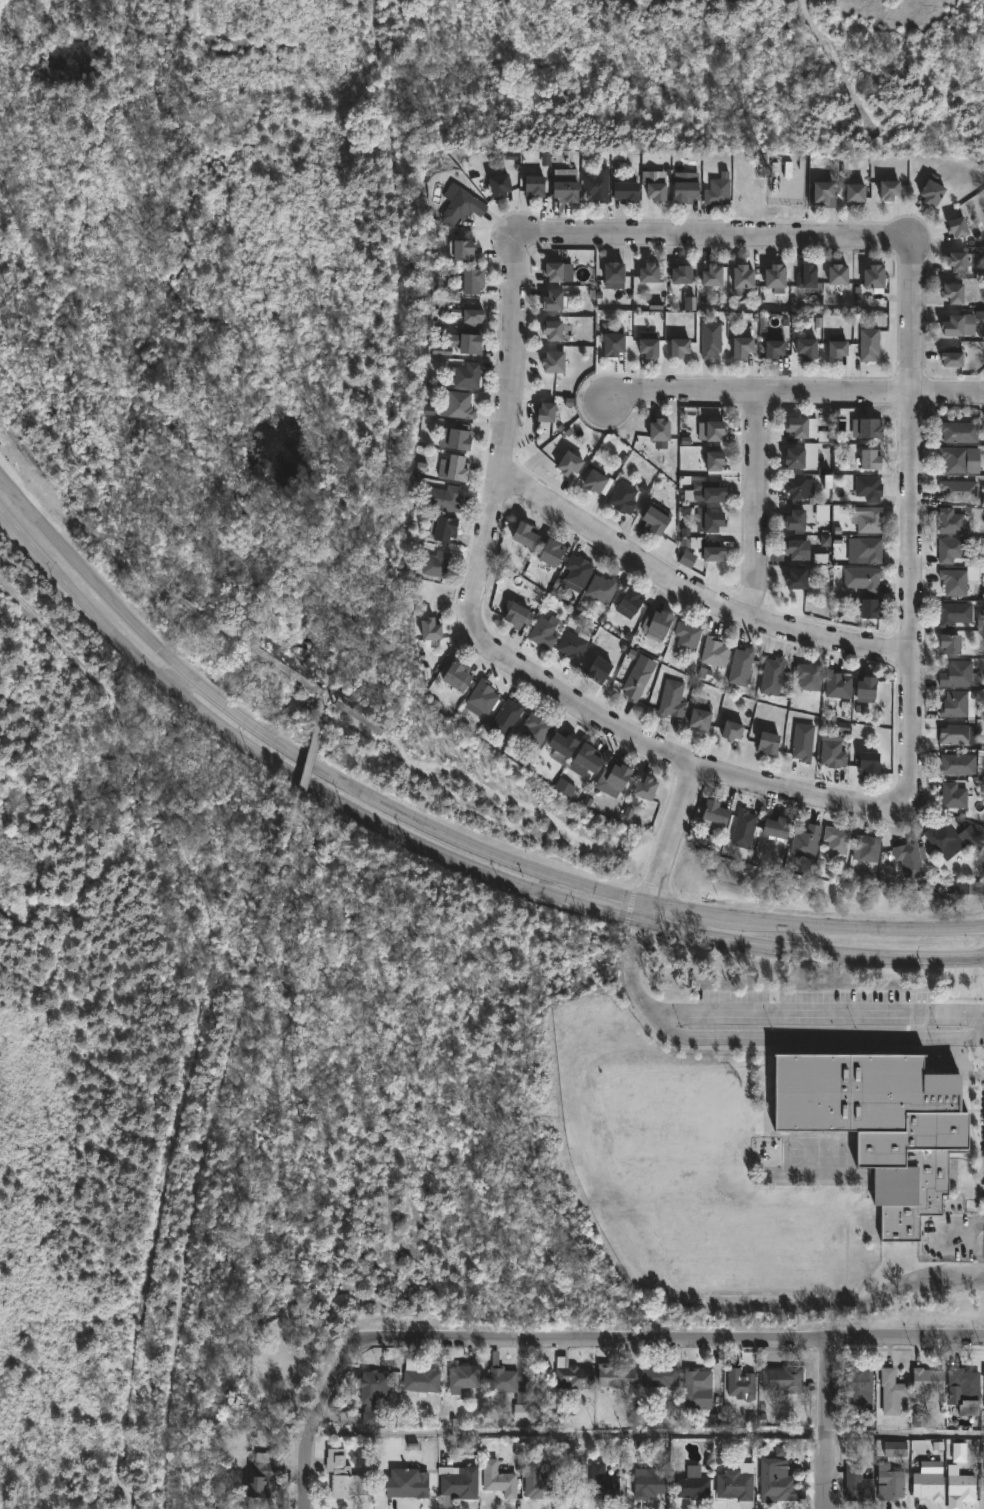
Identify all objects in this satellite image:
building: (496, 184)
building: (531, 184)
building: (596, 184)
building: (786, 187)
building: (624, 188)
building: (887, 188)
building: (931, 189)
building: (563, 190)
building: (654, 190)
building: (683, 190)
building: (821, 190)
building: (717, 191)
building: (854, 191)
building: (461, 201)
building: (957, 225)
road: (713, 237)
building: (456, 248)
building: (955, 260)
building: (552, 270)
building: (611, 271)
building: (647, 272)
building: (836, 273)
building: (680, 274)
building: (711, 274)
building: (742, 275)
building: (873, 277)
building: (774, 278)
building: (808, 278)
building: (470, 280)
building: (952, 292)
building: (551, 300)
building: (469, 315)
building: (958, 325)
building: (551, 330)
building: (710, 339)
building: (468, 343)
building: (611, 343)
building: (869, 344)
building: (678, 346)
building: (740, 346)
building: (647, 347)
building: (804, 347)
building: (773, 348)
building: (836, 349)
building: (951, 357)
building: (551, 361)
railway: (401, 371)
building: (465, 375)
road: (792, 387)
building: (458, 405)
building: (543, 412)
building: (801, 426)
building: (866, 428)
building: (658, 429)
building: (713, 431)
building: (959, 431)
building: (453, 436)
building: (793, 457)
building: (869, 459)
building: (960, 459)
building: (713, 461)
building: (566, 463)
building: (451, 468)
building: (596, 482)
building: (794, 488)
building: (868, 488)
building: (958, 490)
building: (707, 491)
building: (442, 498)
building: (622, 498)
road: (754, 503)
building: (654, 518)
building: (794, 520)
building: (868, 520)
building: (710, 521)
building: (955, 521)
road: (911, 525)
building: (443, 529)
building: (524, 534)
building: (867, 548)
building: (707, 549)
building: (793, 549)
building: (951, 550)
building: (549, 553)
building: (435, 564)
building: (577, 571)
building: (795, 579)
building: (862, 579)
building: (954, 581)
building: (158, 587)
building: (601, 588)
road: (693, 591)
building: (628, 602)
building: (868, 607)
building: (954, 614)
building: (517, 616)
building: (656, 623)
building: (427, 630)
building: (542, 632)
building: (687, 635)
building: (949, 643)
building: (572, 646)
building: (714, 652)
road: (497, 658)
building: (740, 667)
building: (596, 670)
road: (178, 674)
building: (959, 675)
building: (771, 676)
building: (456, 677)
building: (808, 677)
building: (635, 681)
building: (837, 684)
building: (864, 686)
building: (481, 699)
building: (671, 699)
building: (957, 705)
building: (506, 717)
building: (698, 720)
building: (731, 730)
building: (534, 731)
building: (955, 735)
building: (802, 742)
building: (767, 743)
building: (560, 747)
building: (832, 754)
building: (586, 757)
building: (867, 763)
building: (957, 764)
building: (614, 775)
building: (643, 789)
building: (953, 796)
building: (713, 814)
road: (428, 827)
building: (774, 828)
building: (743, 829)
building: (941, 837)
building: (837, 840)
building: (806, 843)
road: (665, 848)
building: (866, 849)
road: (437, 853)
building: (908, 859)
road: (633, 986)
road: (834, 1015)
building: (878, 1121)
railway: (211, 1153)
road: (960, 1231)
road: (654, 1341)
building: (576, 1374)
building: (618, 1375)
building: (662, 1376)
building: (422, 1378)
building: (465, 1379)
building: (785, 1379)
building: (923, 1381)
building: (743, 1384)
building: (698, 1385)
building: (511, 1387)
building: (859, 1389)
building: (962, 1389)
road: (830, 1390)
building: (891, 1390)
building: (374, 1393)
building: (983, 1397)
road: (313, 1431)
road: (571, 1432)
building: (898, 1448)
road: (827, 1472)
building: (264, 1476)
building: (347, 1476)
building: (501, 1479)
building: (958, 1479)
building: (571, 1481)
building: (538, 1482)
building: (780, 1482)
building: (891, 1482)
building: (410, 1483)
building: (605, 1483)
building: (651, 1483)
building: (461, 1484)
building: (738, 1484)
building: (860, 1484)
building: (926, 1485)
building: (694, 1488)

